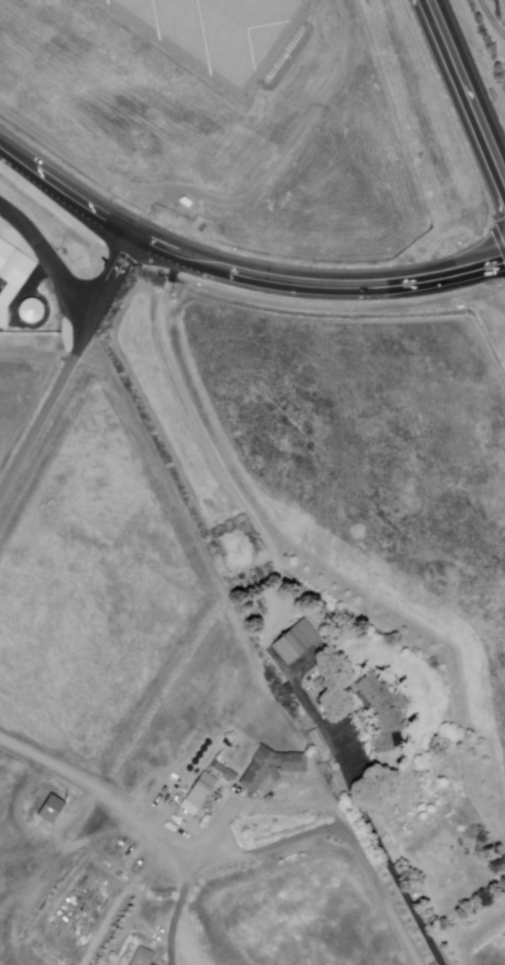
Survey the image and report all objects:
road: (465, 89)
airport: (219, 119)
road: (224, 201)
road: (237, 268)
road: (70, 365)
crop: (18, 394)
road: (205, 443)
crop: (371, 474)
building: (298, 643)
building: (385, 712)
storage tank: (209, 742)
storage tank: (227, 743)
storage tank: (204, 748)
storage tank: (200, 755)
storage tank: (195, 761)
storage tank: (191, 768)
building: (271, 768)
building: (226, 771)
wind turbine: (56, 781)
road: (108, 790)
building: (199, 793)
building: (52, 807)
road: (294, 839)
road: (384, 848)
building: (170, 861)
crop: (484, 948)
building: (143, 957)

